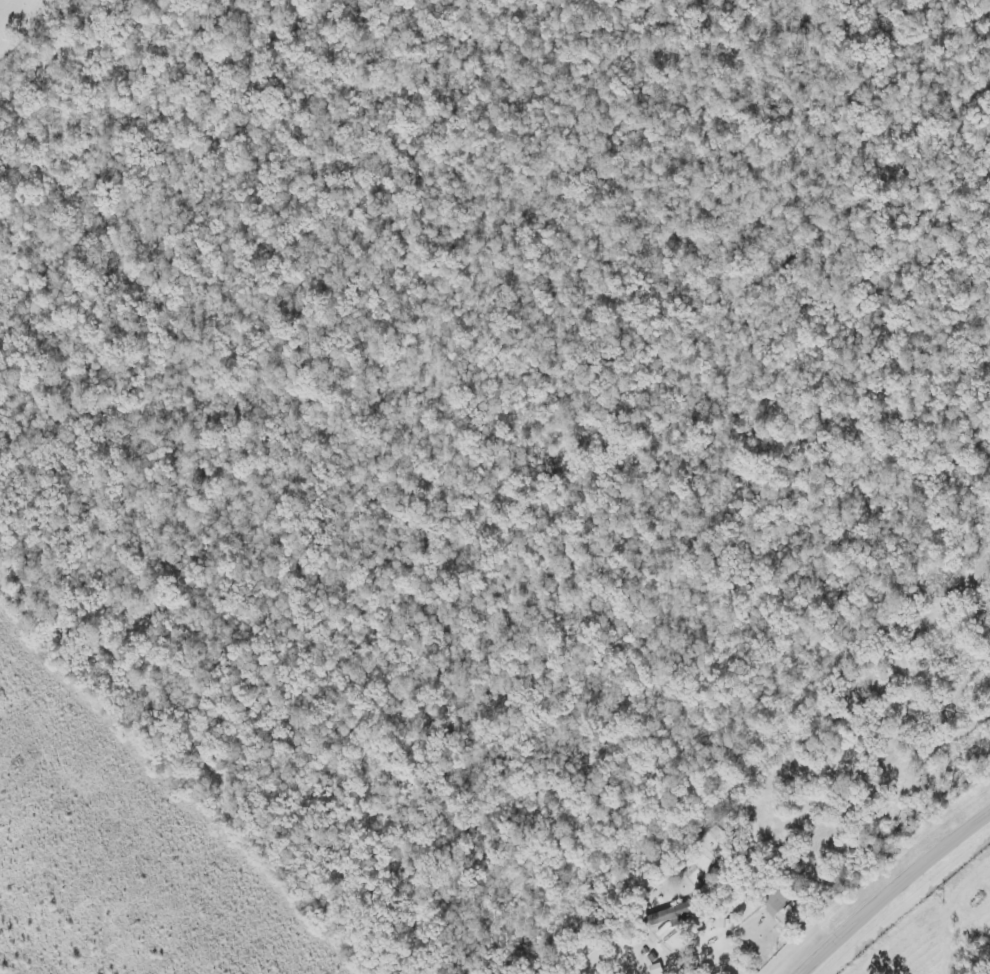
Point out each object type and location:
road: (893, 891)
building: (705, 892)
building: (773, 902)
building: (664, 915)
road: (676, 971)

